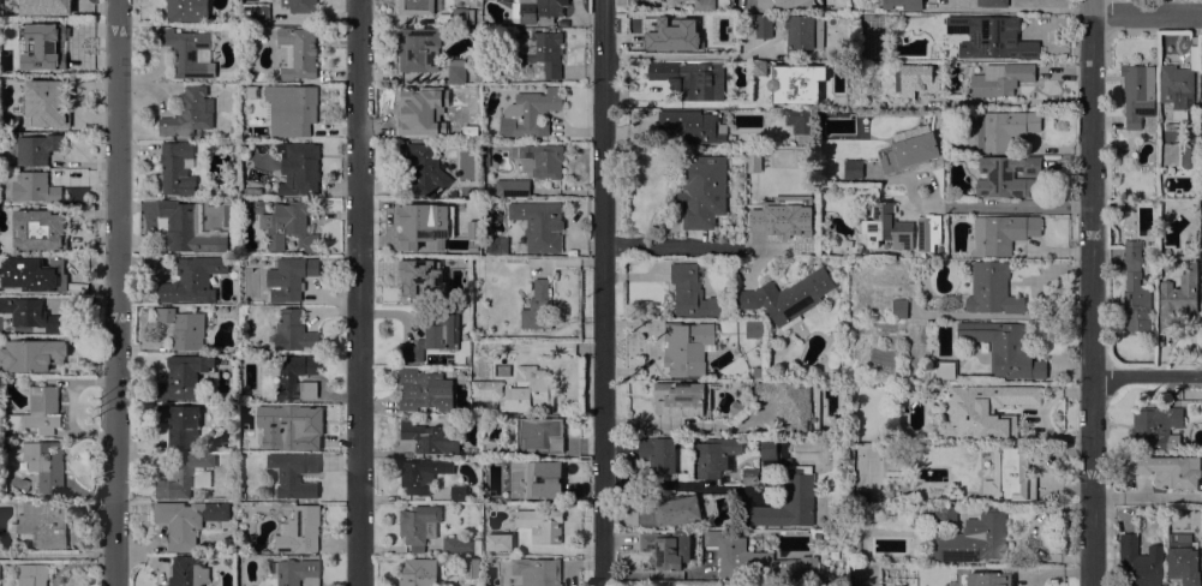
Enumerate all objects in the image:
building: (674, 1)
building: (992, 2)
building: (704, 4)
building: (784, 4)
building: (300, 5)
building: (903, 5)
building: (417, 6)
building: (46, 7)
building: (187, 10)
building: (538, 10)
road: (1011, 10)
building: (255, 11)
road: (1147, 13)
building: (462, 16)
building: (758, 25)
building: (688, 29)
building: (803, 31)
building: (991, 36)
building: (40, 41)
building: (418, 48)
building: (542, 50)
building: (187, 52)
building: (298, 52)
road: (675, 55)
building: (12, 67)
building: (759, 68)
building: (251, 71)
building: (456, 71)
building: (690, 78)
building: (1000, 78)
building: (915, 79)
building: (796, 83)
building: (1180, 85)
building: (1137, 92)
building: (1201, 102)
building: (46, 103)
road: (694, 103)
building: (299, 108)
building: (413, 110)
building: (190, 113)
building: (530, 113)
building: (799, 120)
building: (452, 122)
building: (1171, 125)
building: (707, 127)
building: (233, 128)
building: (1004, 128)
building: (1189, 145)
building: (35, 148)
building: (908, 149)
building: (485, 155)
building: (758, 157)
building: (946, 157)
building: (540, 160)
building: (443, 165)
building: (174, 168)
building: (299, 168)
building: (423, 168)
building: (853, 168)
building: (1161, 169)
building: (1009, 175)
building: (34, 186)
building: (512, 187)
building: (490, 190)
building: (701, 190)
building: (255, 191)
building: (474, 192)
building: (1125, 205)
road: (998, 207)
building: (1201, 209)
building: (779, 211)
building: (421, 219)
building: (946, 220)
building: (289, 225)
building: (538, 226)
building: (886, 227)
building: (190, 228)
building: (40, 229)
building: (928, 232)
building: (1001, 233)
building: (497, 244)
building: (464, 245)
road: (669, 246)
building: (407, 265)
building: (32, 273)
building: (289, 277)
building: (192, 280)
building: (436, 282)
building: (992, 288)
building: (1136, 288)
road: (603, 292)
building: (692, 292)
road: (1090, 292)
road: (116, 293)
road: (360, 293)
building: (788, 297)
building: (1178, 297)
building: (1201, 297)
building: (538, 306)
building: (897, 309)
building: (30, 313)
building: (184, 327)
building: (754, 328)
building: (293, 333)
building: (433, 335)
building: (687, 347)
road: (534, 348)
building: (1004, 348)
building: (32, 354)
building: (944, 370)
building: (734, 372)
road: (1146, 376)
building: (287, 377)
building: (185, 378)
building: (486, 388)
building: (424, 390)
building: (530, 390)
building: (931, 390)
building: (682, 399)
building: (793, 403)
building: (40, 409)
building: (985, 409)
building: (938, 413)
building: (180, 423)
road: (683, 424)
building: (1154, 426)
building: (289, 430)
building: (539, 435)
building: (431, 436)
building: (491, 447)
building: (769, 448)
building: (658, 453)
building: (714, 456)
building: (46, 465)
building: (1168, 470)
building: (294, 473)
building: (421, 473)
building: (185, 474)
building: (1011, 474)
building: (749, 476)
building: (522, 478)
road: (680, 485)
building: (458, 492)
building: (241, 496)
road: (1146, 497)
building: (789, 501)
building: (668, 510)
building: (937, 515)
building: (187, 520)
building: (43, 524)
building: (540, 524)
building: (419, 525)
building: (300, 528)
building: (818, 536)
building: (974, 538)
building: (500, 542)
building: (856, 543)
building: (461, 544)
building: (666, 548)
road: (56, 552)
building: (1183, 558)
building: (757, 561)
building: (1140, 562)
building: (471, 567)
building: (187, 570)
building: (537, 570)
building: (297, 572)
building: (419, 572)
building: (30, 575)
building: (988, 579)

